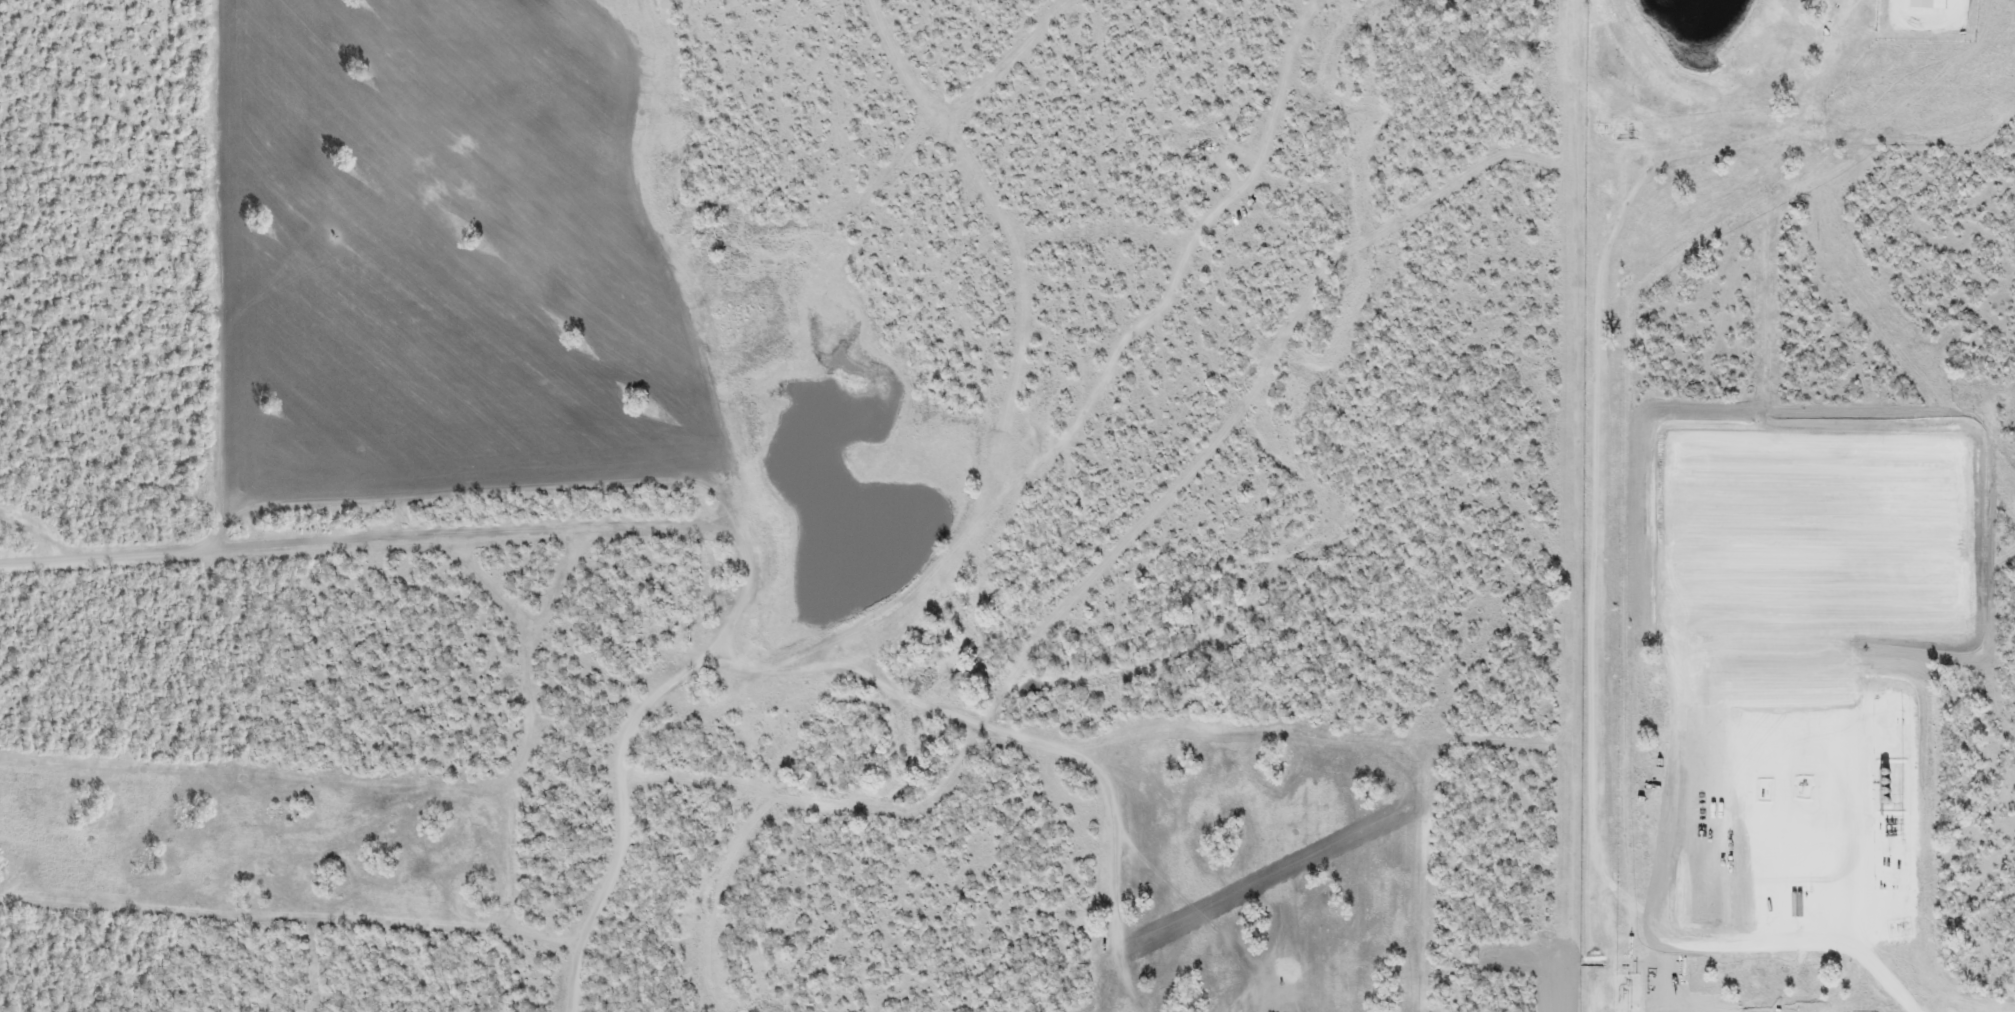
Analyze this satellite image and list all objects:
building: (1930, 3)
road: (1878, 964)

